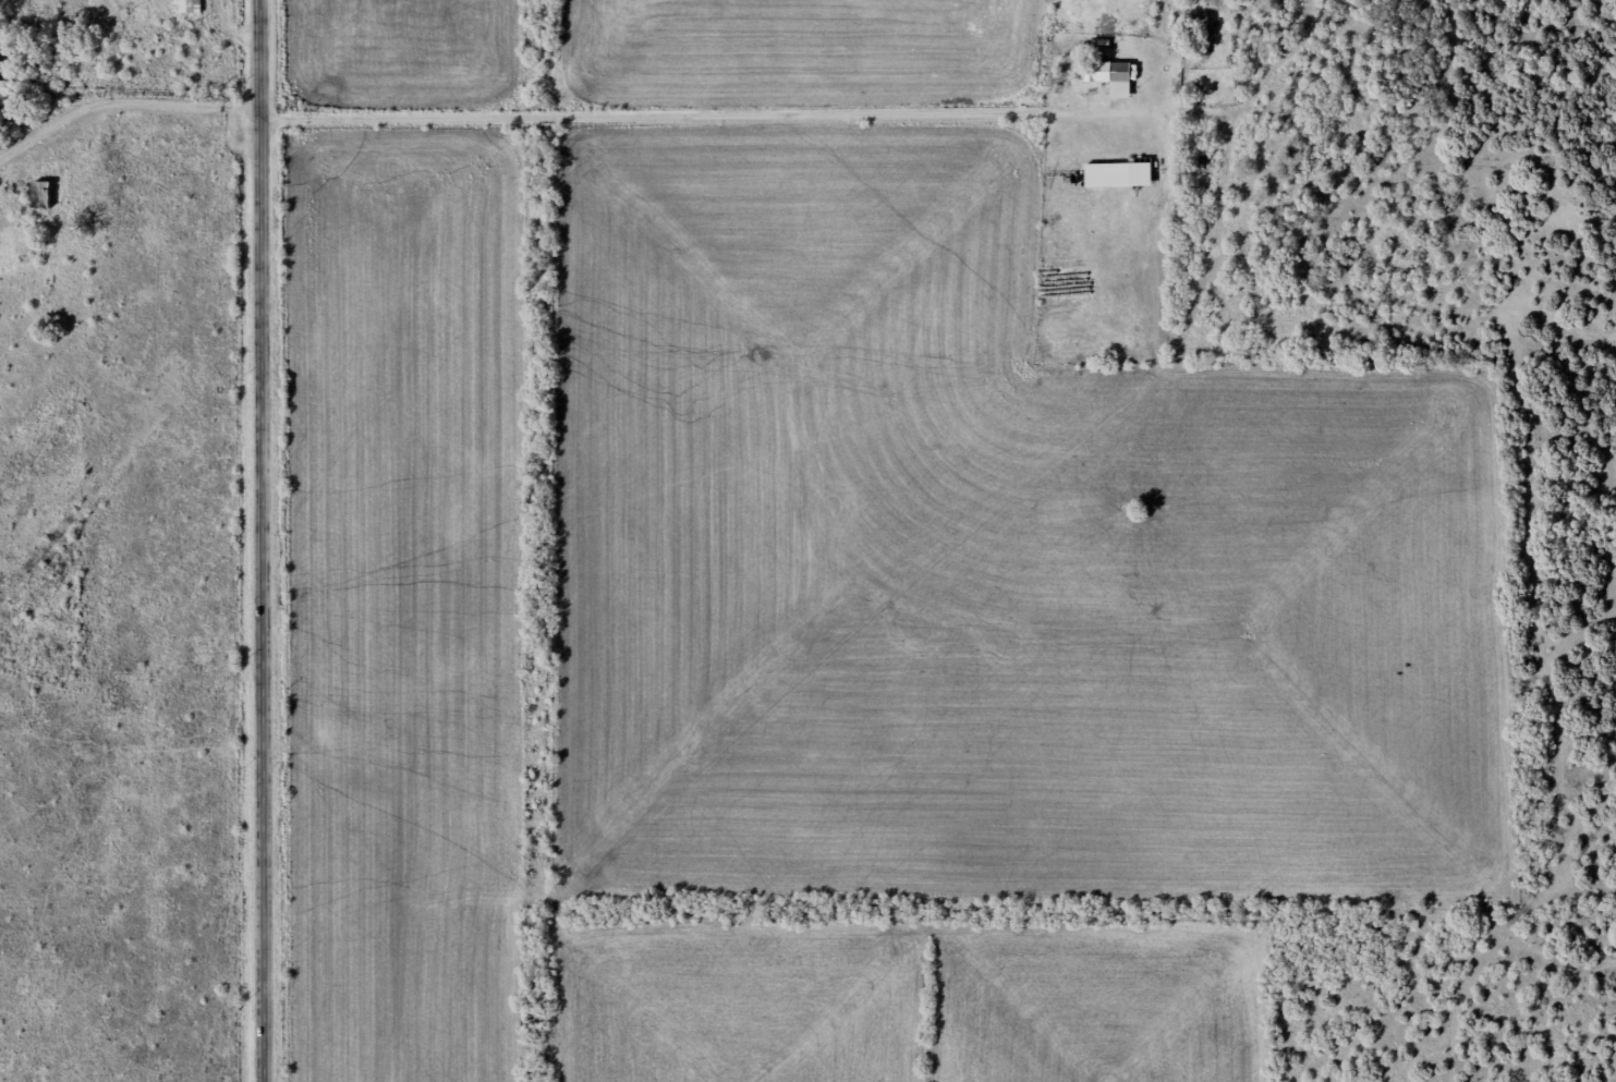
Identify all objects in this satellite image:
building: (190, 8)
building: (1108, 80)
building: (1117, 179)
building: (40, 198)
road: (130, 312)
road: (262, 540)

